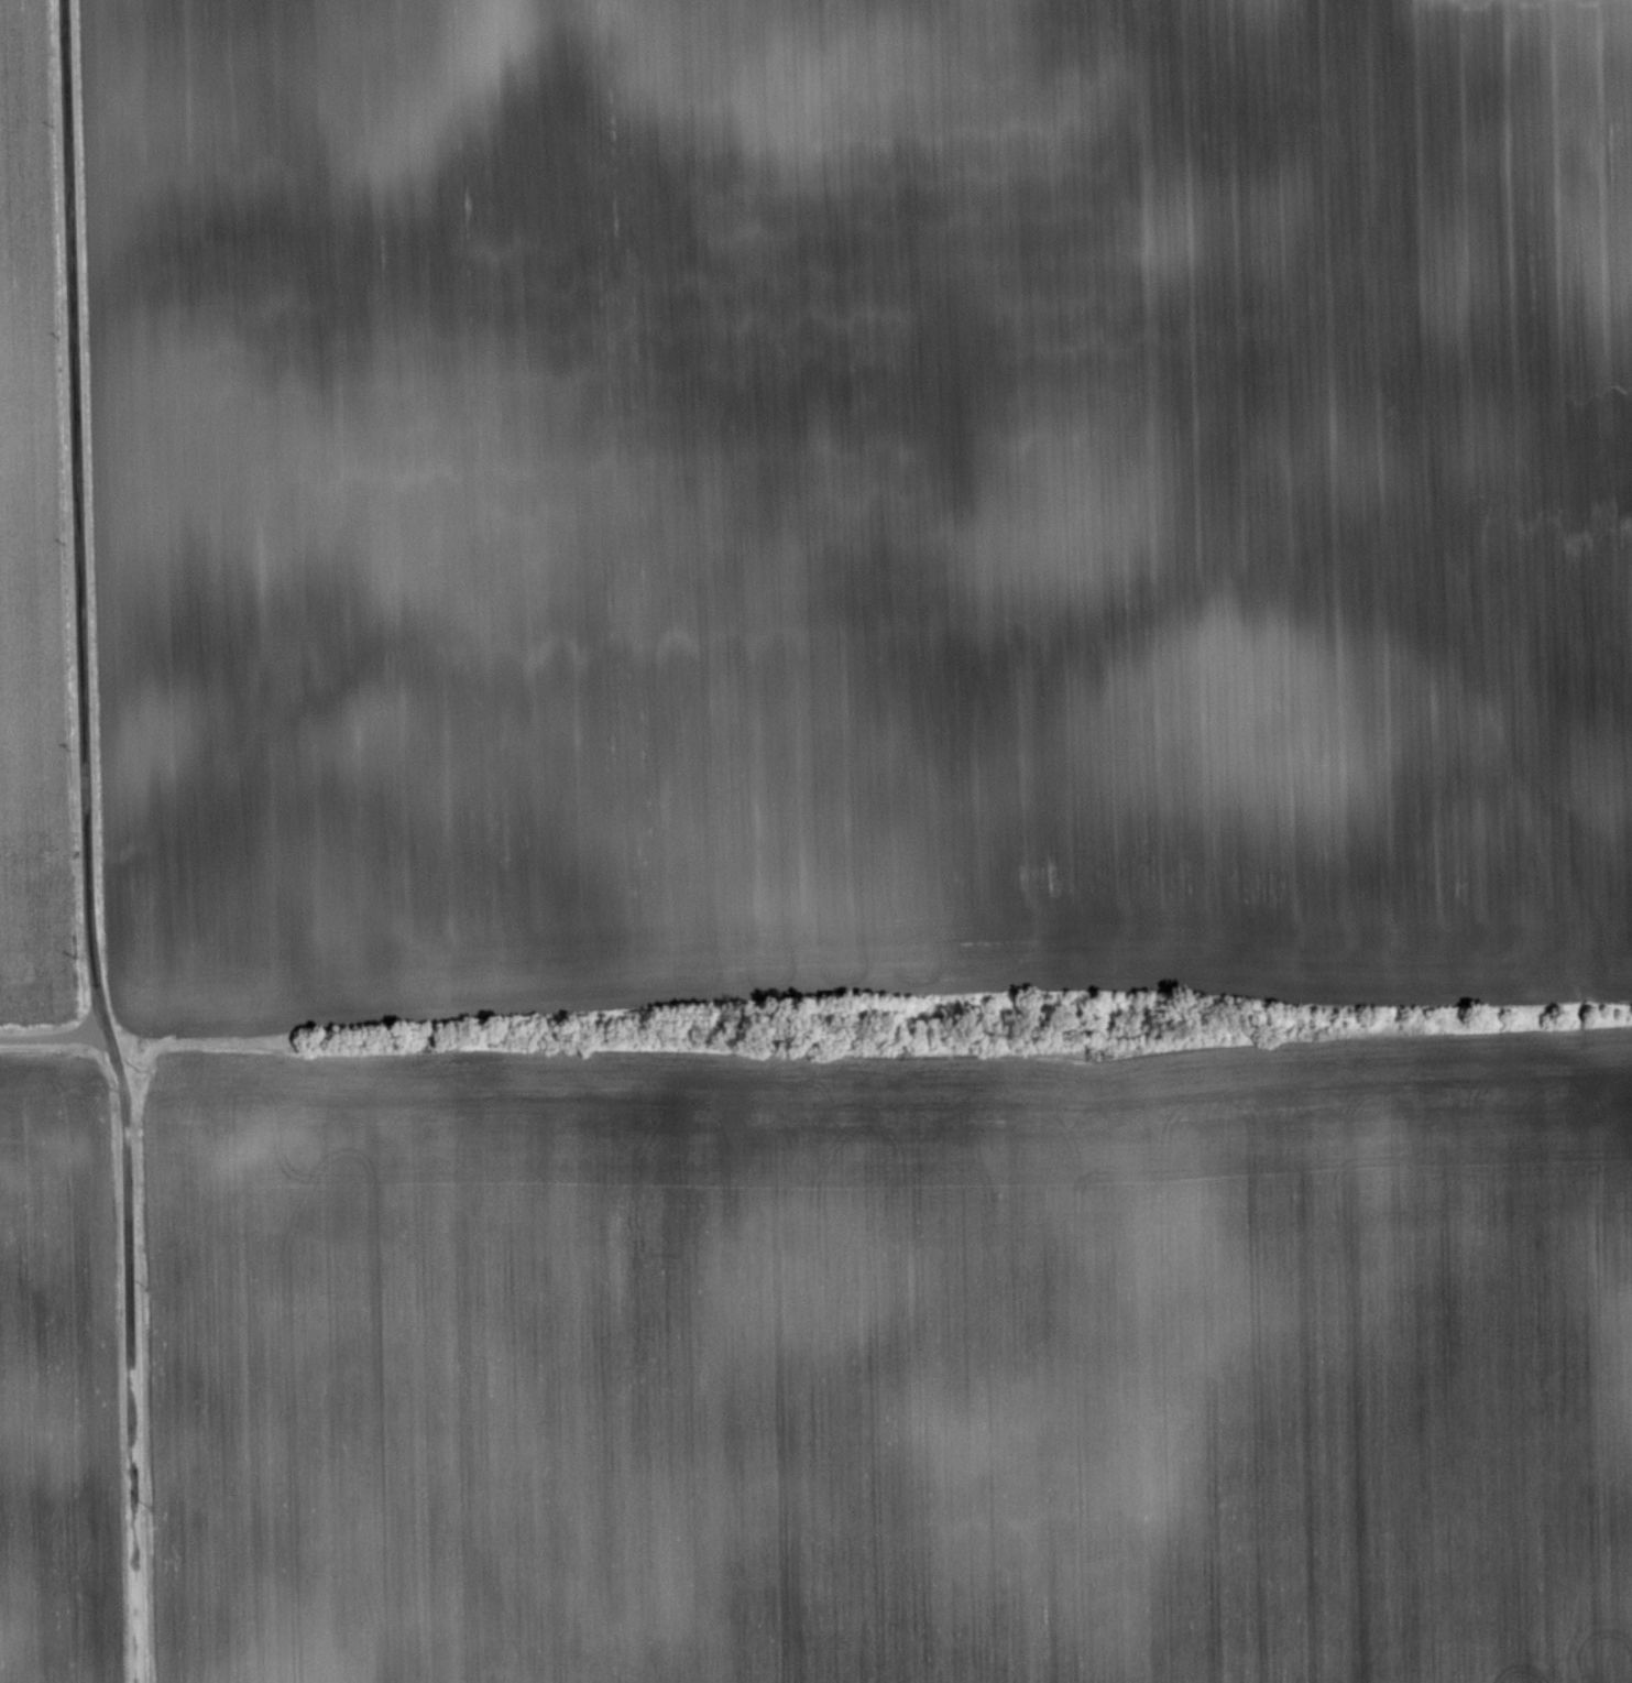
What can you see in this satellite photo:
crop: (859, 501)
road: (79, 518)
crop: (32, 543)
road: (53, 1037)
road: (131, 1357)
crop: (895, 1364)
crop: (57, 1379)

